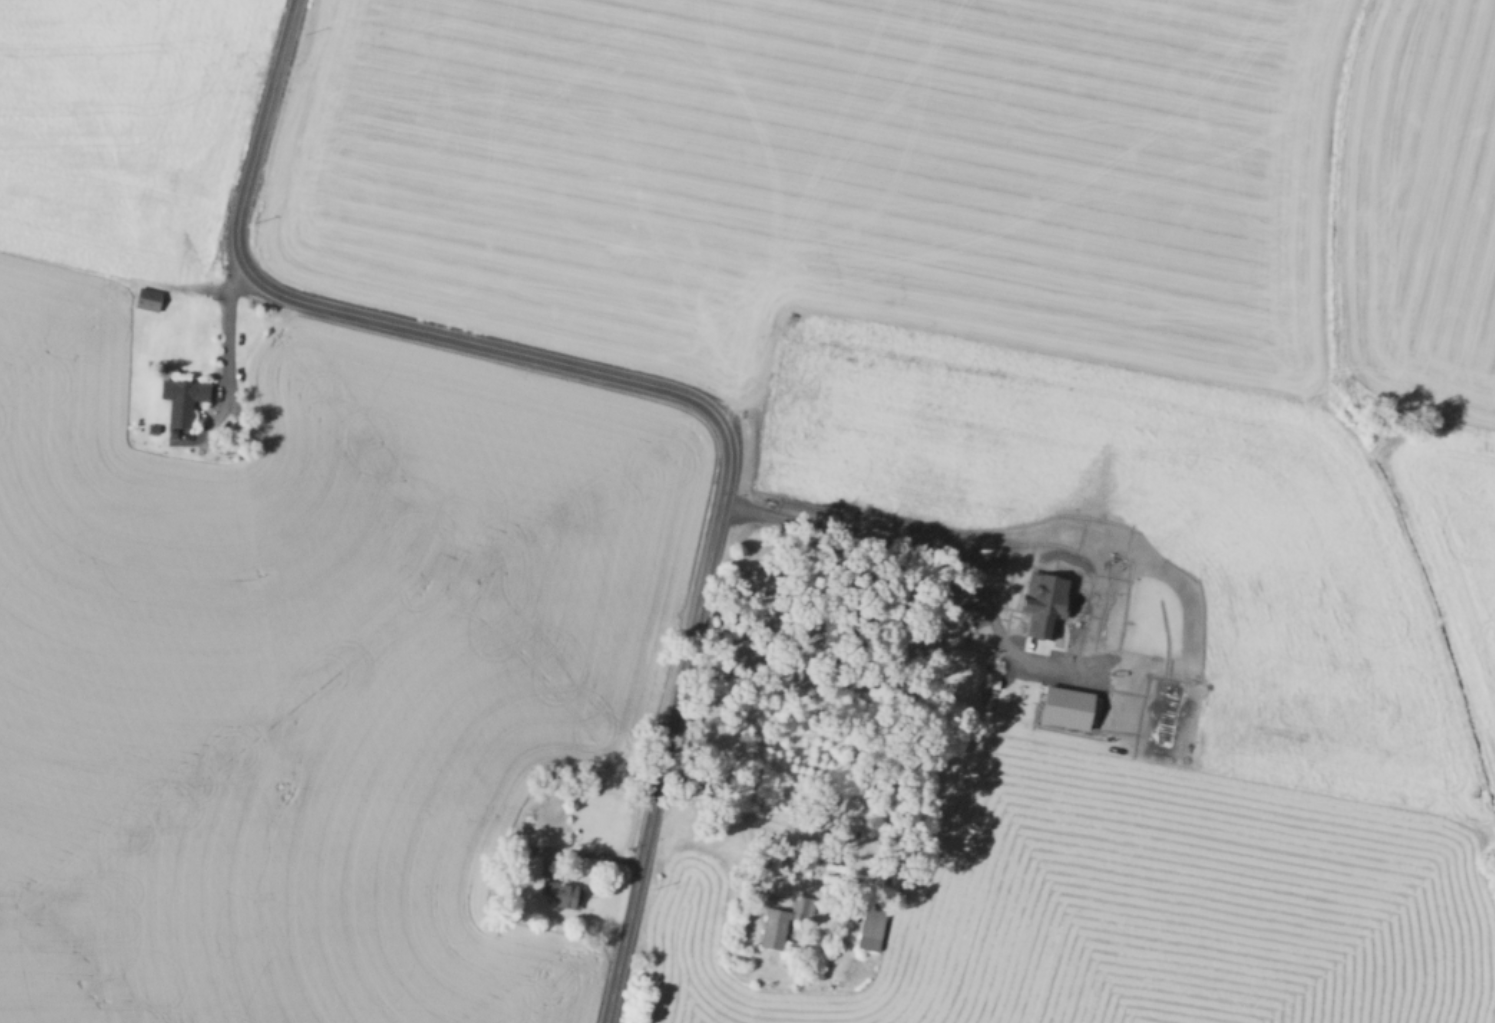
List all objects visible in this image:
crop: (124, 128)
crop: (912, 181)
road: (114, 276)
building: (147, 297)
road: (227, 322)
road: (648, 382)
building: (182, 397)
building: (151, 426)
building: (1040, 524)
road: (916, 543)
building: (1041, 601)
crop: (309, 668)
building: (1047, 696)
road: (781, 833)
road: (594, 852)
building: (560, 893)
building: (872, 924)
building: (774, 926)

